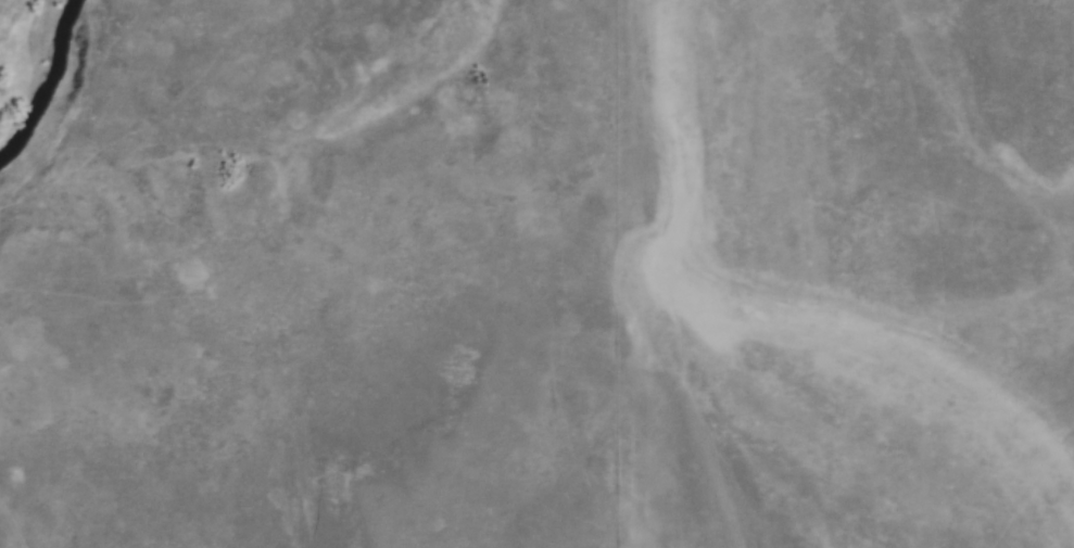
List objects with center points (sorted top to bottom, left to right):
river: (47, 84)

